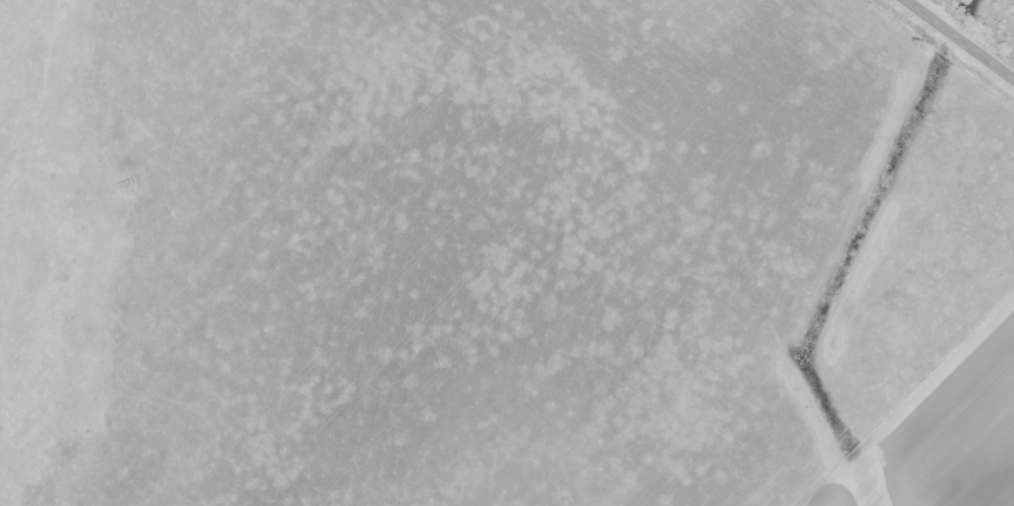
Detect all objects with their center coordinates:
road: (959, 40)

